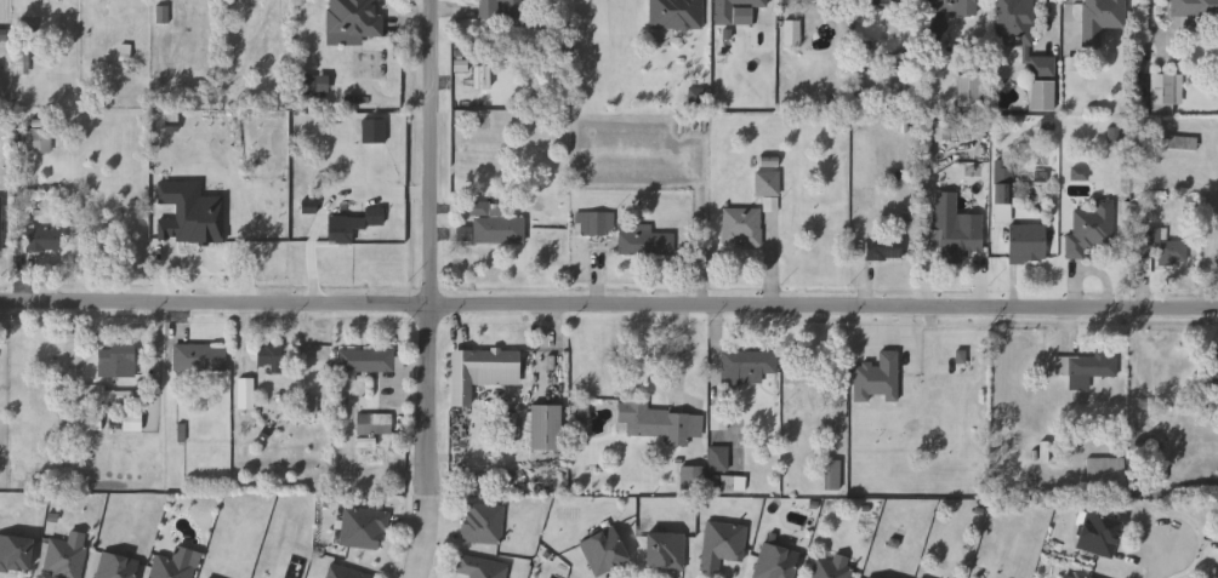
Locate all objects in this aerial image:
building: (884, 1)
building: (951, 5)
building: (499, 8)
building: (1194, 10)
building: (736, 11)
building: (164, 15)
building: (676, 15)
building: (1100, 19)
building: (353, 21)
building: (1013, 23)
building: (791, 32)
building: (4, 35)
building: (21, 61)
building: (462, 65)
building: (1042, 67)
building: (483, 78)
building: (315, 84)
building: (1165, 92)
building: (971, 93)
building: (1043, 96)
building: (700, 97)
building: (952, 130)
building: (375, 131)
building: (34, 139)
building: (1183, 143)
road: (434, 155)
building: (1080, 173)
building: (767, 182)
building: (1004, 191)
building: (866, 198)
building: (309, 206)
building: (192, 214)
building: (1, 219)
building: (352, 223)
building: (591, 223)
building: (494, 225)
building: (741, 225)
building: (1089, 229)
building: (465, 234)
building: (44, 239)
building: (644, 240)
building: (1026, 240)
building: (952, 241)
building: (1161, 245)
building: (883, 247)
road: (608, 310)
building: (269, 355)
building: (199, 356)
building: (116, 359)
building: (368, 361)
building: (949, 365)
building: (747, 366)
building: (1085, 368)
building: (1214, 368)
building: (480, 370)
building: (878, 378)
building: (246, 394)
building: (107, 395)
building: (311, 404)
building: (585, 414)
building: (718, 417)
building: (133, 422)
building: (659, 422)
building: (95, 424)
building: (375, 424)
building: (545, 427)
building: (368, 442)
road: (431, 445)
building: (68, 453)
building: (718, 456)
building: (1105, 468)
building: (1159, 471)
building: (833, 475)
building: (693, 477)
building: (483, 523)
building: (363, 530)
building: (1099, 534)
building: (723, 545)
building: (666, 550)
building: (605, 551)
building: (15, 554)
building: (64, 560)
road: (1167, 560)
building: (776, 562)
building: (115, 566)
building: (480, 567)
building: (833, 567)
building: (170, 568)
building: (347, 573)
building: (1216, 573)
building: (1081, 576)
building: (870, 577)

